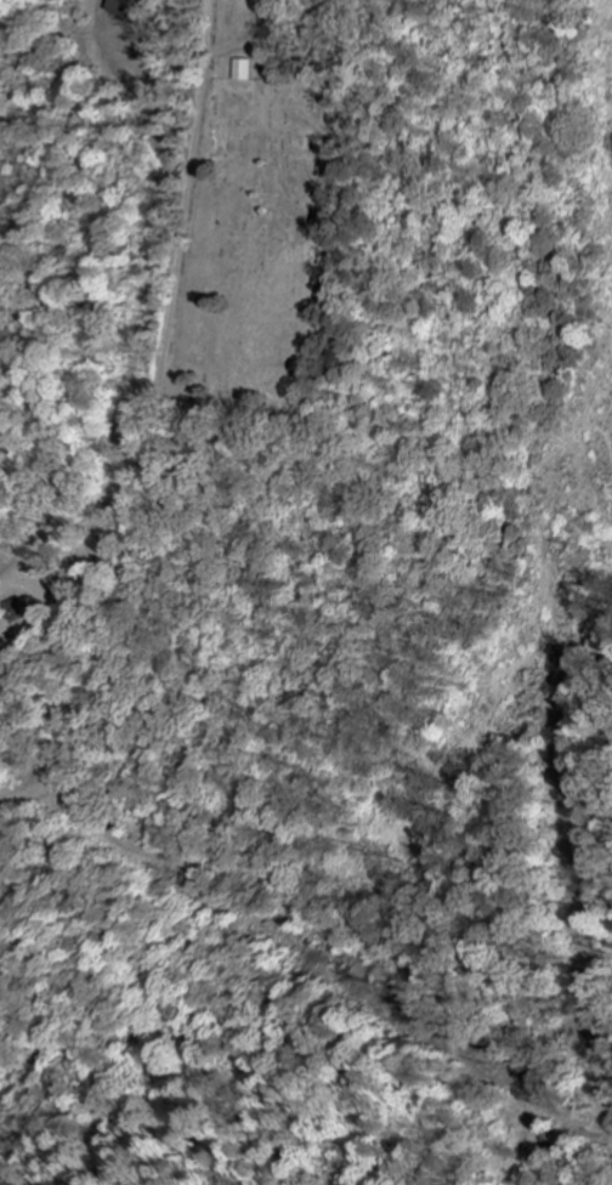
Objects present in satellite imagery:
building: (124, 7)
building: (244, 69)
road: (160, 424)
road: (146, 894)
road: (149, 1014)

